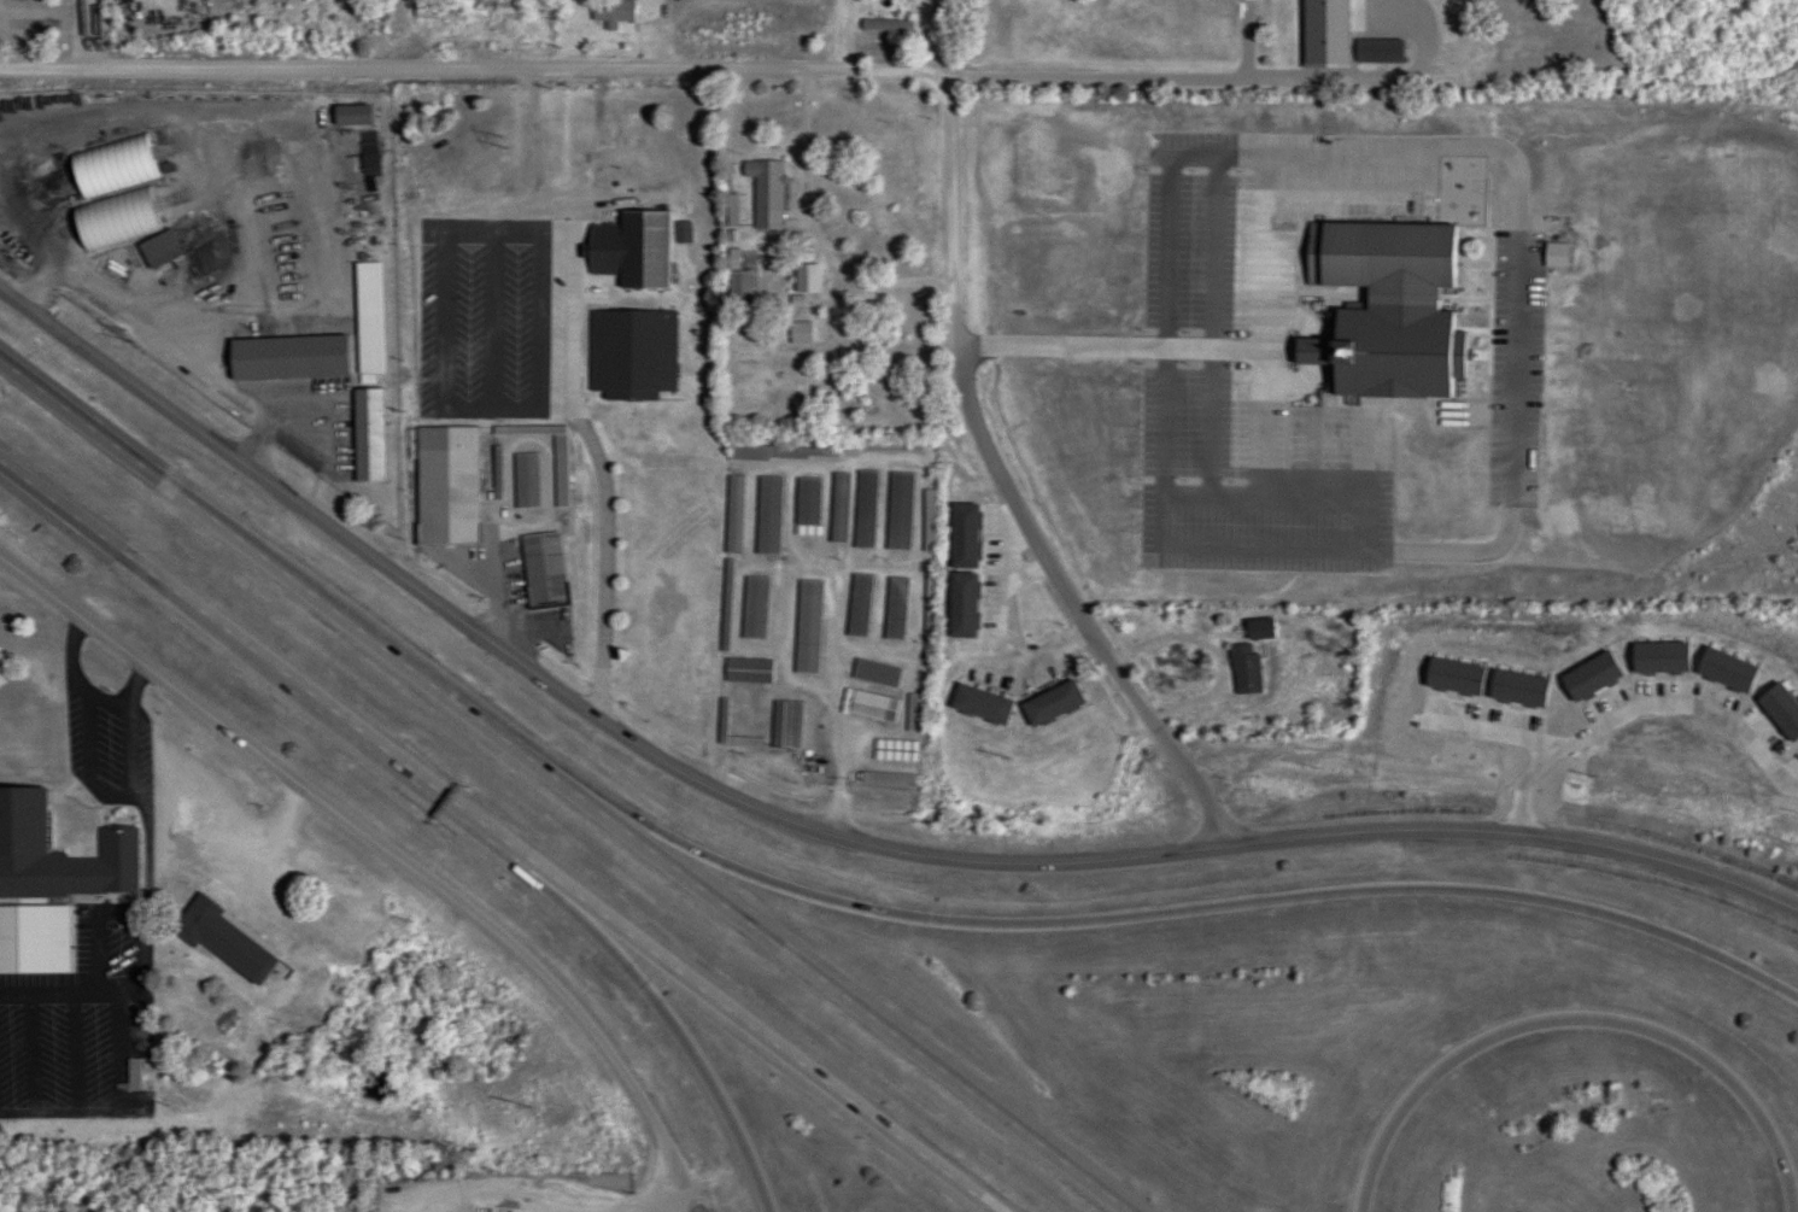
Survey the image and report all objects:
building: (613, 12)
road: (663, 36)
road: (843, 36)
road: (81, 37)
building: (1378, 51)
road: (421, 74)
road: (892, 75)
road: (1178, 81)
building: (351, 115)
building: (626, 130)
building: (112, 166)
building: (767, 195)
road: (812, 232)
building: (156, 242)
building: (631, 250)
building: (1386, 311)
building: (368, 318)
building: (245, 351)
building: (632, 353)
road: (581, 398)
building: (368, 435)
building: (883, 447)
building: (783, 453)
building: (560, 472)
building: (526, 481)
building: (446, 486)
road: (1006, 492)
building: (807, 507)
building: (838, 509)
building: (865, 510)
building: (898, 511)
building: (733, 515)
building: (768, 516)
building: (929, 521)
building: (543, 569)
road: (297, 585)
building: (859, 607)
road: (1304, 607)
building: (754, 608)
building: (726, 609)
building: (895, 609)
building: (930, 614)
building: (807, 627)
building: (1259, 630)
road: (1008, 664)
building: (1244, 669)
building: (748, 672)
building: (875, 674)
road: (283, 684)
road: (570, 701)
building: (1052, 704)
building: (980, 705)
building: (869, 707)
building: (914, 713)
road: (845, 714)
building: (785, 725)
building: (894, 751)
building: (888, 780)
road: (1521, 841)
road: (263, 843)
road: (394, 849)
building: (49, 883)
road: (1194, 913)
building: (227, 941)
road: (861, 1007)
road: (1566, 1020)
road: (685, 1044)
road: (781, 1053)
building: (133, 1076)

